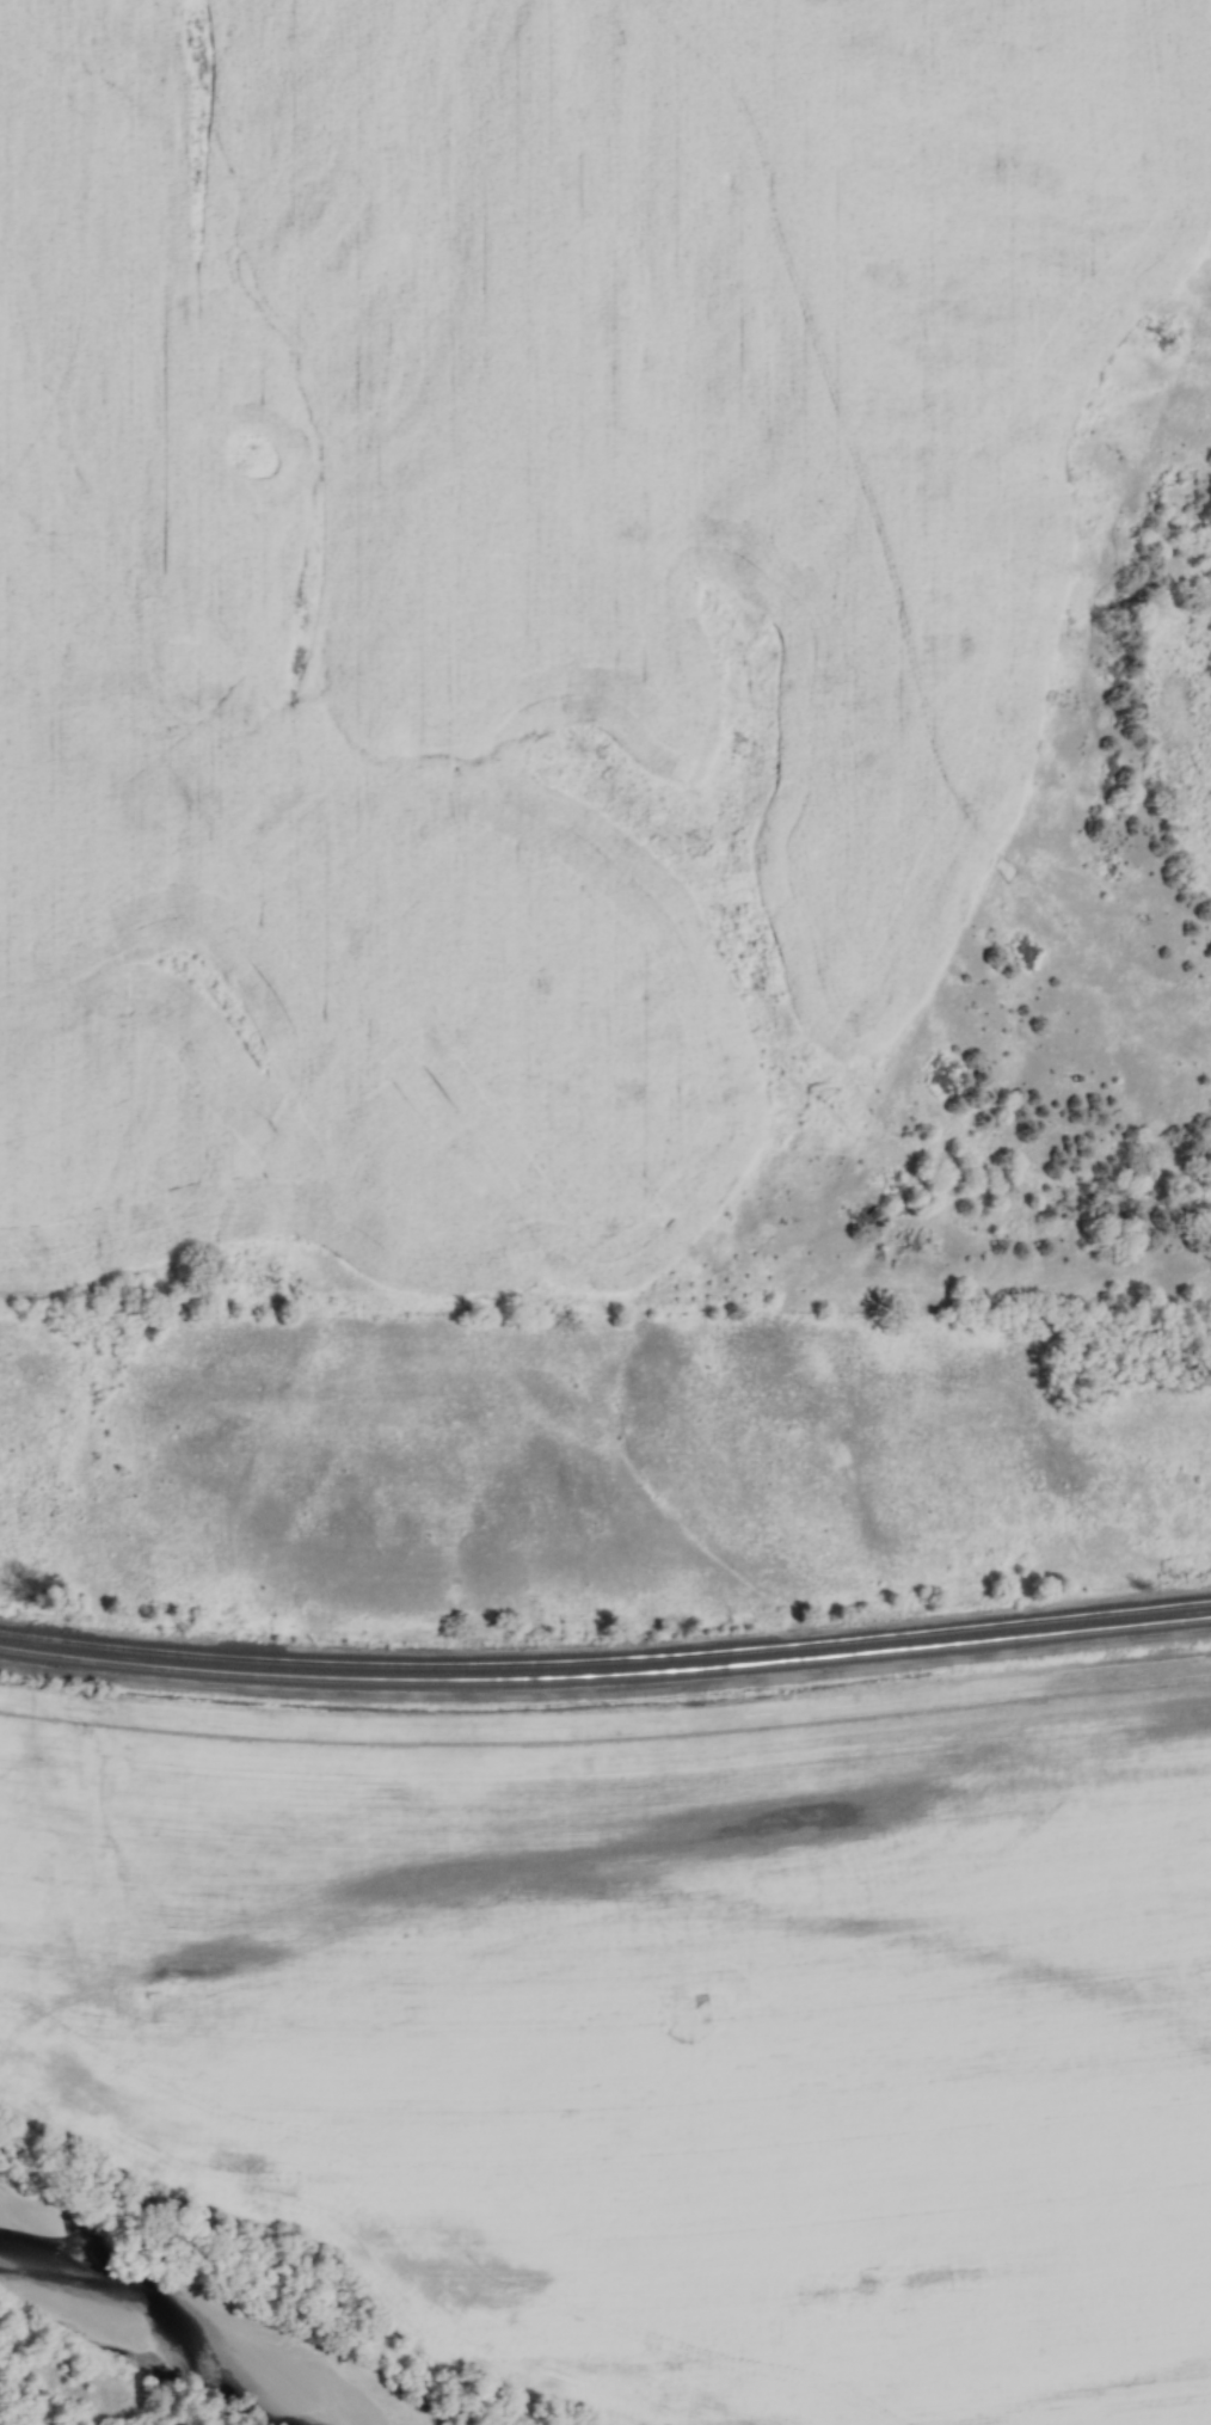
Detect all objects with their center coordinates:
railway: (605, 1658)
railway: (605, 1672)
river: (189, 2323)

